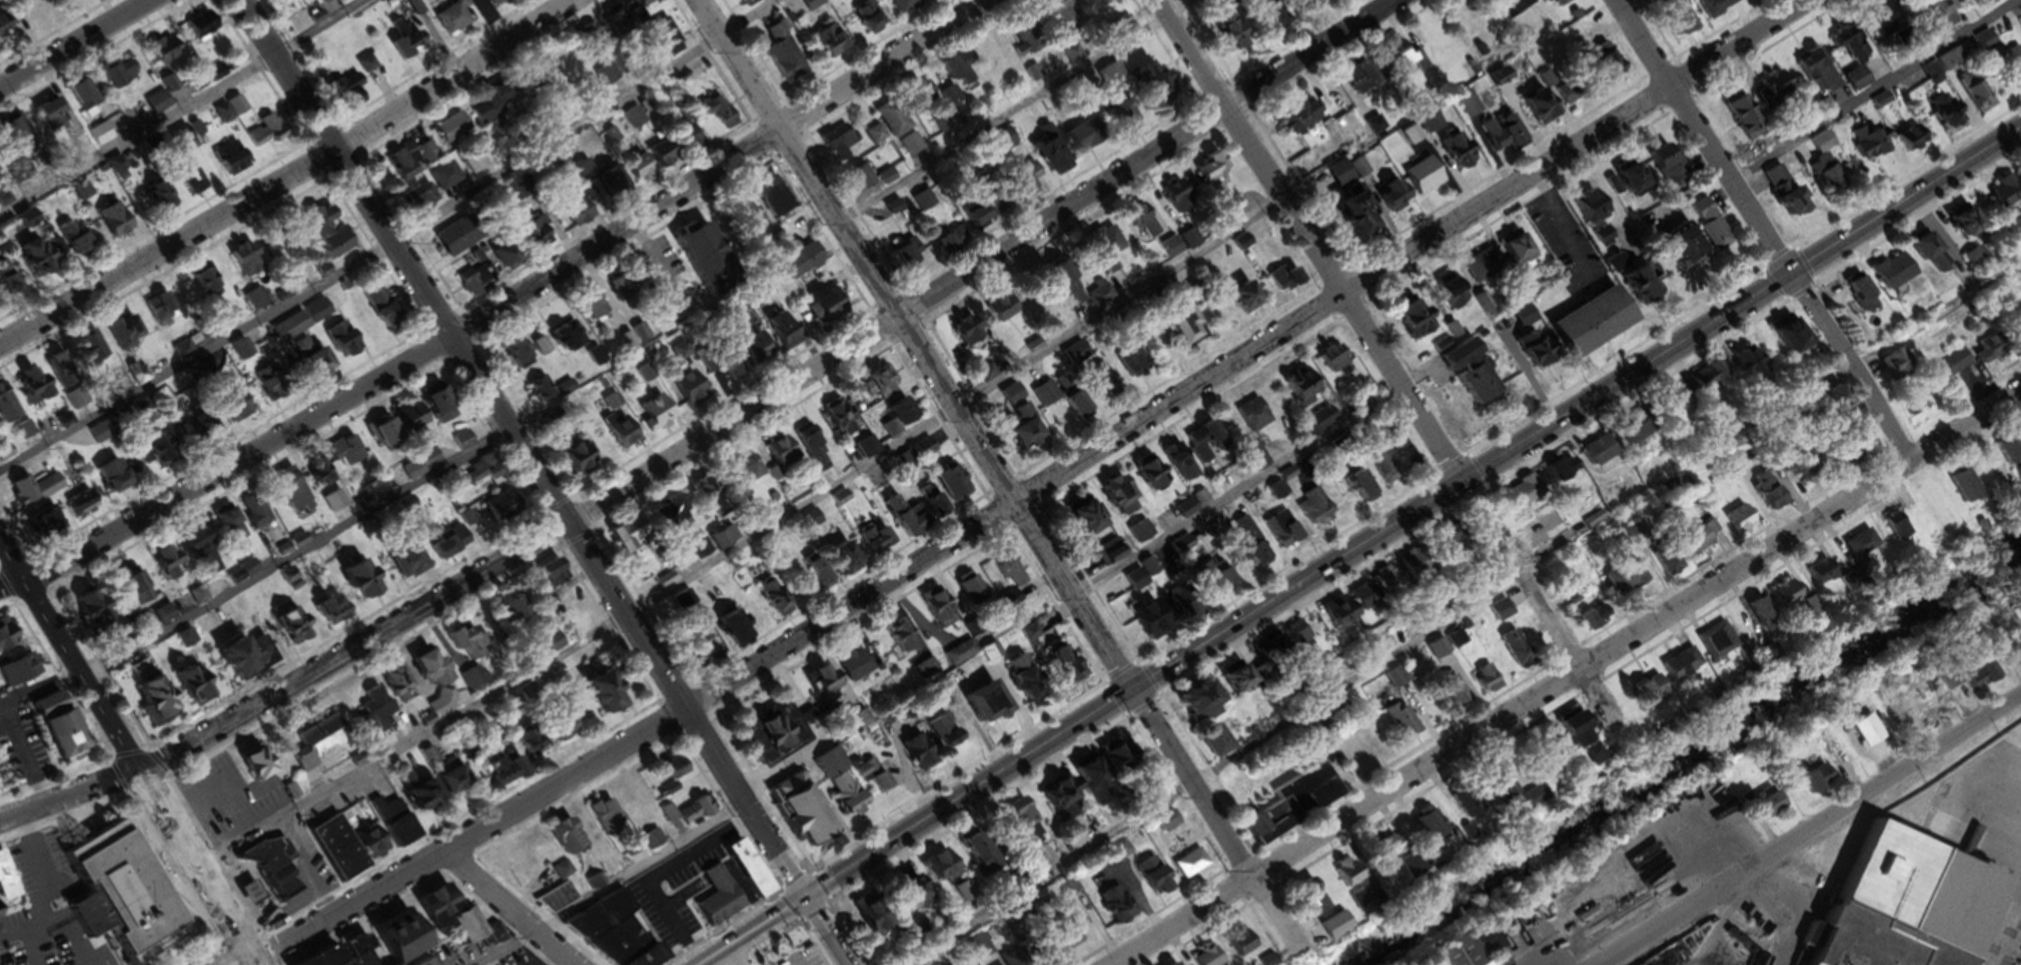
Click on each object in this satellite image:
building: (70, 0)
building: (1745, 0)
building: (2004, 0)
building: (290, 1)
building: (1089, 1)
building: (326, 2)
building: (491, 3)
building: (1552, 4)
building: (809, 6)
building: (1303, 6)
building: (897, 7)
building: (409, 8)
building: (35, 9)
building: (1046, 9)
building: (1507, 9)
building: (1714, 9)
building: (1930, 13)
building: (448, 20)
building: (864, 20)
building: (1678, 26)
building: (205, 27)
building: (1117, 30)
building: (1224, 36)
building: (1864, 39)
building: (662, 41)
road: (73, 42)
building: (825, 44)
building: (402, 48)
building: (170, 51)
building: (780, 57)
building: (1021, 57)
building: (1070, 59)
building: (1395, 61)
building: (1601, 67)
building: (955, 69)
building: (2013, 70)
building: (536, 75)
building: (1815, 75)
building: (122, 76)
building: (1031, 76)
building: (605, 79)
building: (1110, 82)
building: (1853, 83)
building: (172, 86)
building: (1155, 88)
road: (1873, 89)
building: (1774, 93)
building: (908, 94)
building: (1561, 94)
building: (86, 99)
building: (1969, 99)
building: (947, 100)
building: (160, 105)
road: (185, 108)
building: (1462, 108)
building: (1534, 113)
building: (227, 114)
road: (1021, 114)
building: (491, 115)
building: (53, 117)
building: (715, 118)
building: (1112, 118)
building: (1944, 120)
building: (1294, 122)
building: (889, 123)
building: (452, 131)
building: (266, 134)
building: (15, 137)
building: (1496, 137)
building: (872, 139)
building: (1906, 144)
building: (834, 145)
building: (1000, 145)
building: (1767, 146)
building: (1867, 147)
building: (685, 148)
building: (1817, 148)
building: (908, 149)
building: (1450, 155)
building: (1050, 159)
building: (233, 161)
building: (659, 161)
building: (409, 163)
building: (1661, 165)
building: (635, 172)
building: (1207, 172)
road: (289, 177)
building: (441, 181)
building: (600, 181)
building: (855, 182)
building: (1416, 182)
building: (1771, 182)
building: (1824, 182)
building: (1623, 183)
building: (195, 184)
building: (1023, 184)
building: (763, 192)
building: (84, 194)
building: (160, 195)
building: (1999, 195)
building: (1385, 200)
building: (1176, 203)
building: (410, 204)
building: (922, 206)
building: (1783, 207)
building: (737, 211)
building: (889, 211)
building: (569, 213)
building: (1583, 213)
building: (971, 217)
building: (1224, 218)
building: (1342, 220)
building: (325, 221)
building: (118, 222)
building: (1142, 223)
building: (1953, 227)
building: (1703, 229)
road: (1763, 231)
building: (531, 237)
road: (1310, 238)
building: (453, 241)
building: (340, 245)
road: (397, 245)
building: (945, 246)
building: (61, 249)
building: (1241, 249)
building: (1170, 251)
building: (1103, 252)
building: (1670, 252)
building: (688, 255)
building: (1917, 255)
building: (1511, 257)
building: (897, 259)
building: (250, 261)
building: (497, 261)
building: (796, 266)
building: (327, 271)
building: (1480, 274)
building: (1881, 276)
building: (1283, 280)
building: (1055, 282)
building: (13, 285)
building: (1631, 285)
building: (471, 286)
building: (208, 288)
building: (1849, 295)
building: (1444, 296)
building: (1094, 297)
road: (509, 299)
building: (1237, 301)
building: (255, 302)
building: (587, 309)
building: (161, 312)
building: (387, 313)
building: (993, 313)
building: (821, 315)
building: (1406, 320)
building: (303, 323)
building: (1170, 326)
building: (1579, 327)
building: (663, 328)
road: (1920, 329)
building: (2018, 331)
building: (125, 335)
building: (777, 335)
building: (631, 338)
building: (964, 340)
building: (1779, 340)
building: (554, 342)
building: (346, 343)
building: (86, 356)
building: (514, 356)
building: (1524, 356)
building: (751, 357)
building: (592, 359)
building: (1070, 359)
building: (1323, 363)
building: (323, 365)
building: (1883, 366)
building: (1950, 366)
building: (1127, 367)
building: (1733, 367)
building: (719, 372)
building: (1460, 378)
building: (1692, 380)
building: (45, 382)
building: (873, 384)
building: (1093, 385)
building: (538, 392)
road: (772, 394)
building: (1291, 397)
building: (1006, 399)
building: (1040, 399)
building: (686, 400)
building: (1827, 407)
building: (1072, 409)
building: (8, 410)
building: (244, 412)
building: (1666, 412)
building: (432, 414)
building: (651, 418)
building: (1251, 418)
building: (835, 420)
building: (894, 423)
building: (1312, 426)
building: (1013, 431)
building: (202, 432)
building: (24, 434)
building: (101, 434)
building: (394, 435)
building: (1619, 440)
building: (465, 444)
building: (804, 445)
building: (1202, 446)
building: (1394, 450)
building: (166, 452)
building: (773, 454)
building: (2005, 454)
building: (6, 456)
building: (1248, 461)
building: (339, 463)
building: (569, 467)
building: (1176, 467)
building: (424, 468)
building: (479, 473)
building: (742, 474)
building: (117, 478)
building: (1146, 478)
road: (544, 482)
road: (1003, 482)
building: (948, 487)
road: (1037, 488)
building: (1960, 489)
building: (1355, 490)
building: (37, 493)
road: (1241, 494)
building: (296, 495)
building: (702, 495)
building: (1764, 499)
building: (1114, 500)
building: (1197, 503)
building: (81, 505)
building: (927, 505)
building: (507, 509)
building: (1308, 511)
building: (257, 512)
building: (667, 513)
building: (896, 518)
building: (1076, 521)
building: (51, 523)
building: (807, 525)
building: (1735, 525)
building: (232, 526)
building: (1169, 529)
building: (1892, 532)
building: (1277, 533)
building: (1137, 535)
building: (1698, 540)
building: (722, 541)
road: (1358, 544)
building: (451, 545)
building: (872, 545)
building: (1244, 548)
building: (1854, 549)
road: (744, 551)
building: (208, 553)
building: (1105, 557)
building: (167, 558)
building: (837, 561)
building: (1663, 565)
building: (1400, 572)
building: (1004, 573)
building: (245, 574)
building: (814, 576)
building: (1814, 576)
road: (260, 577)
building: (556, 577)
building: (2020, 579)
building: (1209, 580)
road: (11, 581)
building: (1620, 582)
building: (367, 583)
building: (1372, 588)
building: (139, 591)
building: (969, 592)
building: (1778, 599)
building: (772, 600)
building: (683, 603)
road: (1541, 609)
building: (100, 610)
building: (521, 611)
building: (1134, 611)
building: (335, 613)
building: (935, 613)
building: (1497, 614)
building: (1178, 615)
building: (166, 616)
building: (1326, 616)
building: (1588, 620)
building: (294, 625)
building: (731, 632)
building: (1027, 638)
building: (898, 642)
building: (1452, 643)
building: (470, 644)
building: (550, 644)
building: (1714, 644)
building: (4, 646)
building: (1435, 651)
building: (1512, 653)
building: (698, 654)
road: (70, 656)
building: (1266, 656)
building: (959, 657)
building: (247, 661)
building: (1057, 666)
building: (853, 671)
building: (1677, 671)
building: (437, 673)
building: (926, 673)
building: (22, 674)
road: (1566, 677)
building: (1962, 678)
building: (473, 681)
building: (1484, 684)
building: (1223, 685)
building: (821, 686)
building: (201, 691)
building: (1024, 694)
building: (153, 695)
building: (1448, 695)
building: (611, 696)
building: (1646, 697)
building: (61, 703)
building: (974, 708)
building: (1186, 711)
building: (858, 724)
building: (1398, 724)
building: (565, 729)
building: (1563, 733)
building: (71, 736)
building: (1863, 736)
building: (936, 737)
building: (763, 738)
building: (534, 742)
building: (1821, 742)
building: (321, 744)
parking lot: (23, 746)
building: (1207, 747)
building: (909, 755)
building: (1107, 758)
building: (261, 767)
road: (1212, 769)
building: (679, 770)
building: (510, 773)
building: (1079, 778)
building: (868, 779)
building: (1811, 782)
building: (460, 783)
building: (1492, 789)
road: (69, 794)
parking lot: (230, 795)
building: (840, 798)
building: (1052, 804)
building: (1522, 805)
building: (1761, 806)
building: (1460, 808)
building: (1287, 810)
building: (635, 811)
building: (692, 816)
building: (799, 818)
building: (611, 820)
building: (396, 824)
building: (1160, 827)
building: (1423, 828)
road: (1812, 830)
building: (572, 840)
building: (654, 843)
building: (345, 852)
building: (1380, 853)
building: (1115, 856)
building: (971, 860)
building: (1025, 866)
road: (197, 868)
building: (526, 869)
building: (933, 869)
building: (1185, 869)
road: (47, 871)
building: (756, 873)
building: (564, 874)
building: (1344, 880)
building: (1148, 881)
building: (7, 882)
building: (127, 886)
parking lot: (682, 886)
road: (611, 888)
building: (1061, 891)
building: (960, 894)
building: (899, 896)
building: (257, 897)
building: (560, 902)
building: (722, 902)
building: (1307, 904)
building: (1902, 907)
road: (514, 909)
building: (1112, 909)
parking lot: (47, 910)
road: (1778, 915)
building: (463, 919)
road: (57, 921)
building: (862, 921)
building: (1057, 934)
building: (618, 936)
building: (391, 946)
building: (1230, 946)
road: (34, 948)
building: (77, 950)
building: (1466, 950)
building: (1037, 954)
parking lot: (804, 955)
road: (726, 957)
building: (1202, 959)
building: (35, 963)

